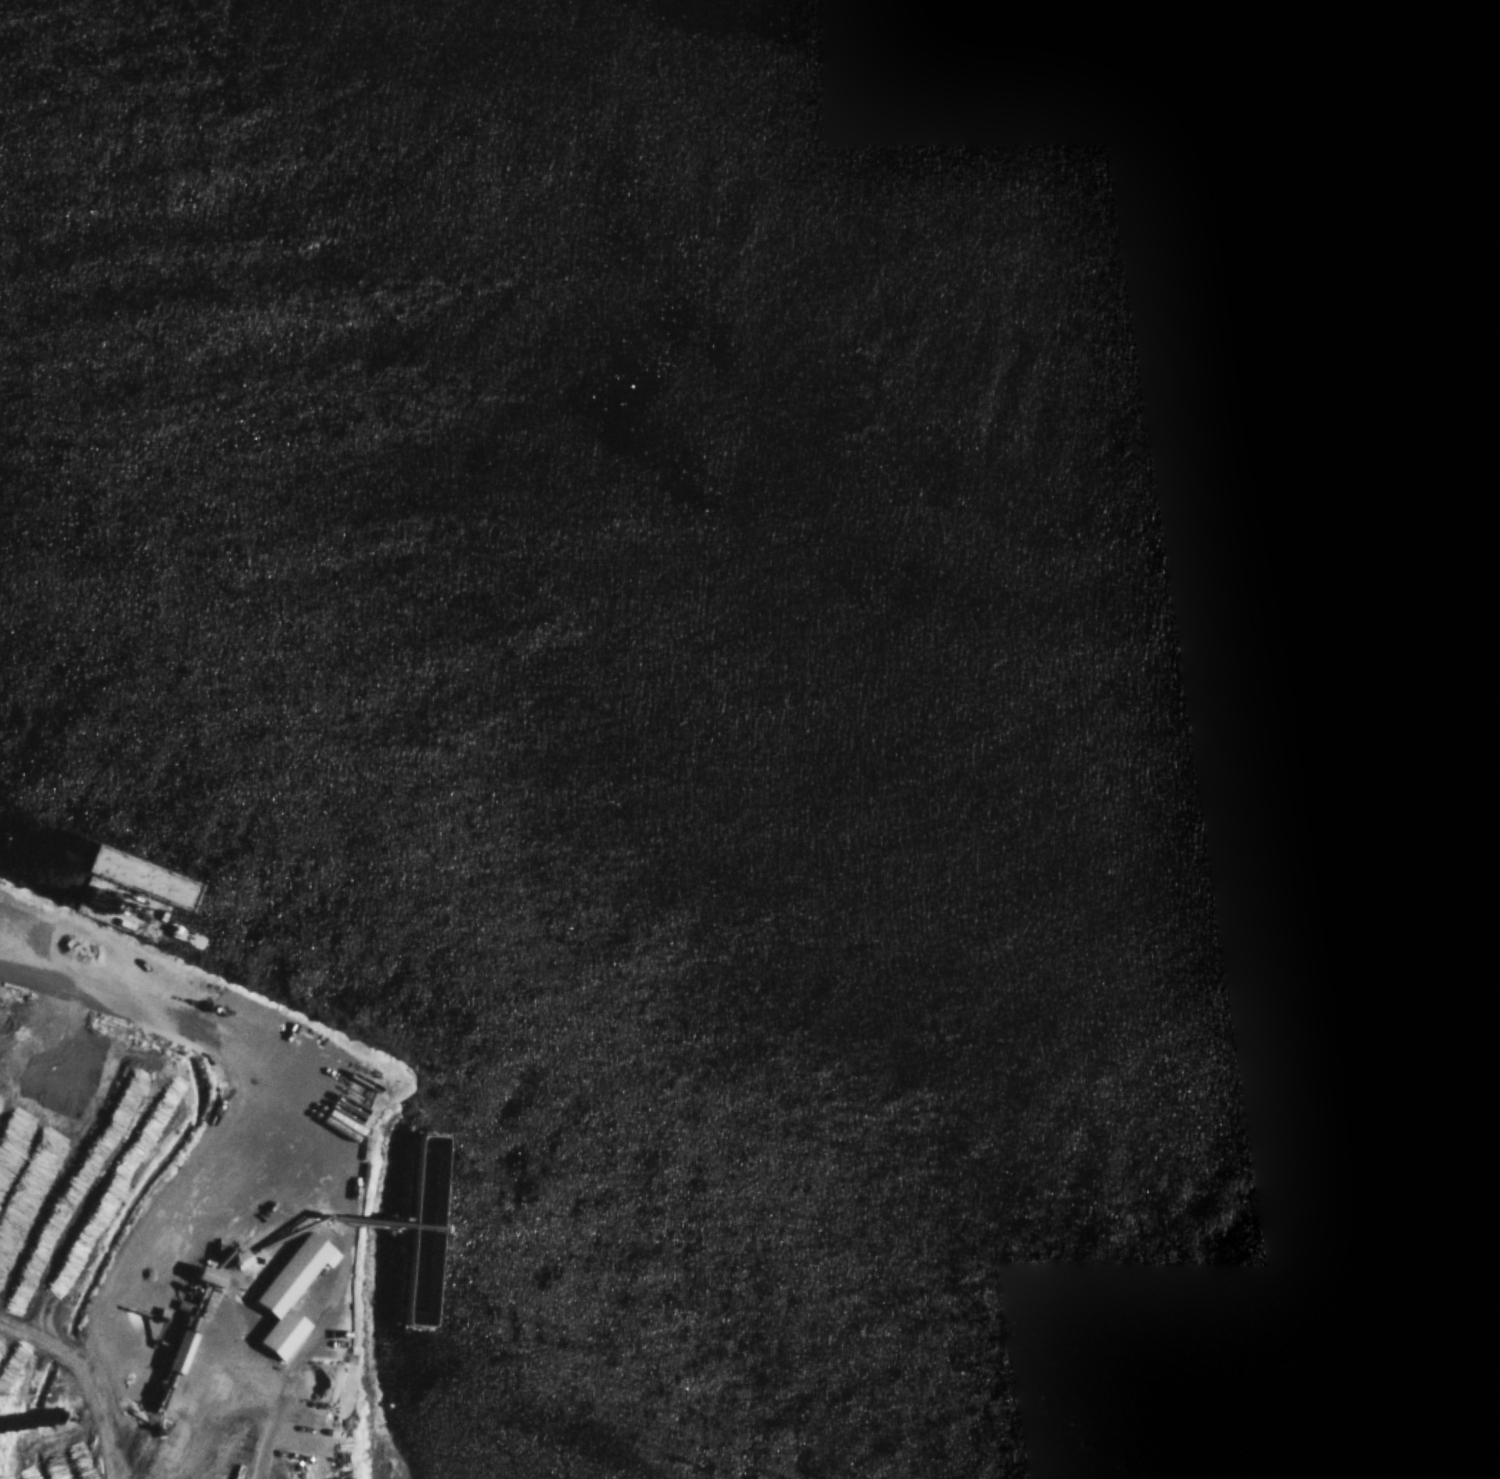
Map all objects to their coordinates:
river: (976, 404)
road: (312, 1125)
building: (424, 1152)
building: (149, 1192)
pier: (425, 1232)
building: (202, 1279)
pier: (428, 1280)
building: (286, 1296)
building: (174, 1354)
road: (88, 1374)
road: (238, 1415)

